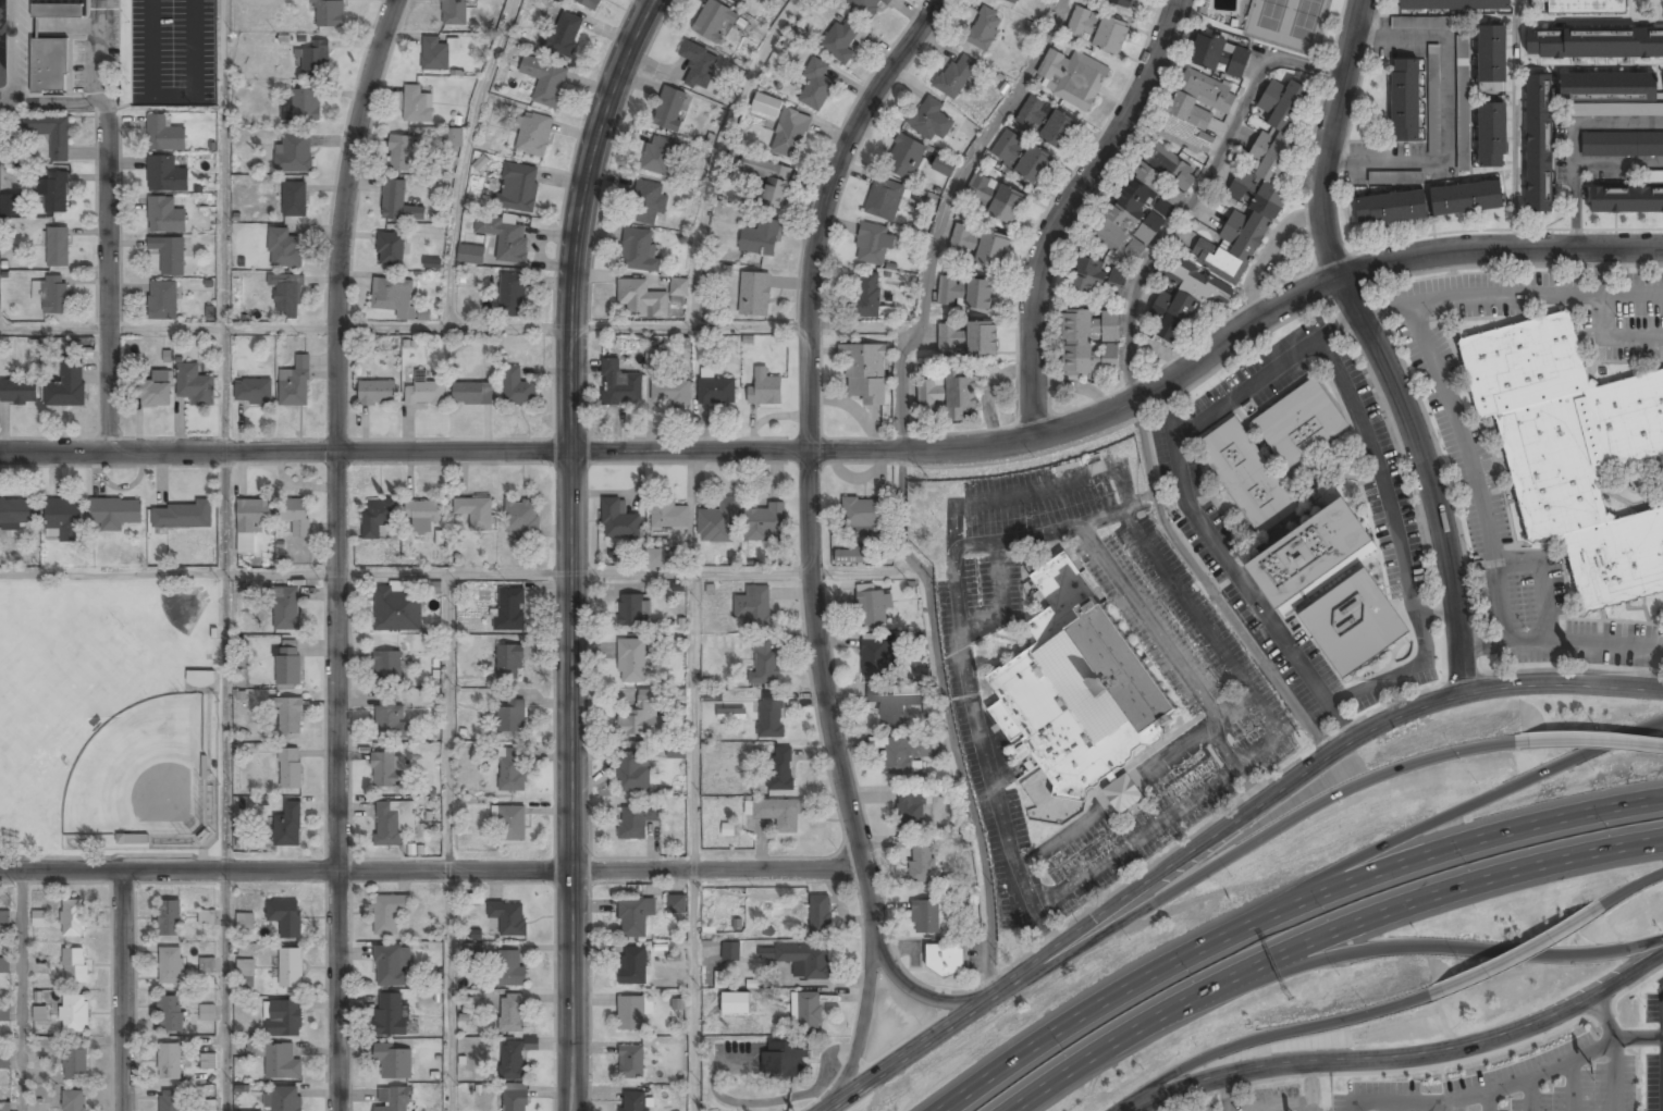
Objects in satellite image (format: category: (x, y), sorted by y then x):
building: (738, 1)
building: (1012, 1)
building: (589, 3)
building: (1122, 3)
building: (865, 5)
building: (1454, 5)
building: (1587, 7)
building: (57, 12)
building: (328, 13)
building: (453, 13)
building: (713, 21)
building: (1419, 23)
building: (984, 28)
building: (1096, 29)
building: (564, 35)
building: (843, 39)
building: (1594, 44)
building: (434, 54)
building: (1219, 57)
building: (316, 58)
building: (1492, 59)
building: (699, 64)
building: (49, 65)
building: (957, 75)
building: (1073, 77)
building: (544, 79)
building: (814, 85)
building: (1607, 86)
building: (1433, 99)
building: (1405, 101)
road: (10, 102)
building: (1463, 102)
building: (417, 104)
building: (765, 104)
building: (303, 106)
building: (669, 109)
building: (1617, 111)
building: (929, 119)
building: (1049, 122)
building: (50, 134)
building: (164, 134)
building: (533, 134)
building: (790, 134)
building: (453, 136)
building: (1491, 136)
building: (1538, 144)
building: (1637, 145)
building: (402, 152)
building: (293, 153)
building: (657, 155)
road: (717, 155)
building: (904, 157)
building: (1021, 158)
road: (465, 160)
building: (944, 165)
building: (1165, 169)
building: (164, 174)
building: (1395, 177)
building: (769, 180)
road: (107, 183)
building: (1255, 184)
building: (517, 187)
building: (54, 190)
road: (1197, 193)
building: (1467, 198)
building: (294, 199)
building: (884, 199)
building: (997, 199)
building: (1626, 199)
building: (397, 202)
building: (646, 202)
building: (11, 205)
road: (1065, 208)
building: (1391, 208)
road: (946, 213)
building: (164, 215)
road: (224, 226)
building: (506, 237)
building: (760, 238)
building: (961, 239)
building: (873, 245)
building: (58, 247)
building: (284, 248)
building: (390, 248)
building: (638, 250)
building: (993, 250)
building: (470, 254)
building: (170, 255)
building: (1098, 279)
building: (678, 286)
building: (948, 289)
building: (753, 293)
building: (52, 294)
building: (286, 295)
building: (513, 295)
building: (980, 295)
road: (1511, 295)
building: (394, 296)
building: (867, 296)
building: (641, 299)
building: (1181, 300)
building: (162, 301)
road: (1272, 310)
building: (423, 316)
road: (1604, 321)
road: (688, 326)
road: (864, 326)
road: (284, 328)
building: (968, 338)
building: (1091, 343)
road: (1377, 347)
building: (865, 372)
building: (295, 383)
building: (619, 383)
building: (194, 385)
building: (66, 386)
building: (764, 387)
building: (517, 388)
building: (716, 388)
building: (19, 392)
building: (254, 392)
building: (670, 392)
building: (152, 393)
building: (377, 393)
building: (424, 394)
building: (472, 394)
building: (931, 394)
building: (960, 394)
building: (1299, 424)
road: (454, 450)
building: (1573, 450)
road: (1473, 469)
building: (1245, 477)
building: (19, 511)
building: (115, 511)
building: (475, 513)
building: (861, 514)
building: (422, 515)
building: (182, 516)
building: (296, 516)
building: (377, 517)
building: (521, 517)
building: (63, 519)
parking lot: (1099, 520)
building: (618, 521)
building: (669, 521)
building: (249, 522)
building: (717, 522)
building: (764, 522)
road: (809, 546)
road: (570, 548)
road: (336, 552)
building: (850, 554)
building: (1307, 554)
building: (654, 557)
road: (111, 572)
road: (740, 573)
road: (396, 575)
road: (1540, 577)
building: (753, 606)
building: (286, 608)
building: (874, 608)
building: (397, 609)
building: (509, 609)
building: (633, 610)
building: (1352, 625)
road: (1561, 639)
building: (875, 658)
building: (509, 661)
building: (632, 661)
road: (693, 661)
road: (223, 662)
building: (764, 664)
building: (287, 665)
building: (387, 667)
building: (921, 672)
building: (200, 678)
building: (1077, 687)
building: (711, 694)
parking lot: (1224, 699)
building: (895, 704)
building: (731, 714)
building: (771, 714)
building: (290, 715)
building: (510, 716)
building: (641, 716)
park: (109, 717)
building: (390, 719)
road: (449, 723)
road: (1590, 739)
building: (676, 750)
building: (902, 753)
building: (290, 768)
building: (780, 768)
building: (386, 769)
building: (512, 769)
park: (140, 771)
building: (630, 771)
building: (1122, 794)
road: (1469, 806)
building: (910, 808)
building: (777, 813)
building: (636, 820)
building: (391, 822)
building: (509, 822)
building: (287, 825)
road: (1221, 830)
building: (132, 838)
road: (1252, 843)
building: (921, 862)
road: (432, 872)
road: (1634, 889)
building: (676, 903)
road: (1286, 911)
building: (389, 913)
building: (820, 915)
building: (633, 916)
building: (925, 916)
building: (169, 917)
building: (206, 917)
building: (286, 917)
building: (508, 917)
building: (4, 918)
building: (39, 918)
building: (73, 918)
building: (245, 922)
road: (1321, 937)
road: (1422, 948)
building: (730, 950)
building: (472, 951)
road: (1519, 954)
building: (946, 959)
building: (801, 960)
building: (206, 964)
building: (170, 965)
building: (632, 965)
building: (3, 966)
building: (75, 966)
building: (392, 966)
building: (290, 967)
building: (510, 967)
building: (246, 973)
building: (718, 979)
road: (916, 988)
road: (123, 990)
road: (22, 991)
road: (224, 991)
road: (447, 991)
road: (694, 991)
building: (4, 1010)
building: (805, 1012)
building: (40, 1013)
building: (74, 1013)
building: (170, 1013)
building: (207, 1013)
building: (510, 1013)
building: (390, 1014)
building: (630, 1014)
building: (283, 1019)
road: (1270, 1035)
building: (531, 1044)
parking lot: (1654, 1044)
road: (1613, 1051)
road: (1407, 1053)
building: (512, 1060)
building: (784, 1060)
building: (3, 1061)
building: (75, 1061)
building: (170, 1061)
building: (208, 1061)
building: (281, 1061)
building: (394, 1061)
building: (631, 1062)
road: (1488, 1093)
building: (283, 1098)
building: (393, 1099)
building: (75, 1100)
building: (515, 1100)
building: (170, 1101)
building: (633, 1101)
building: (209, 1104)
building: (4, 1107)

